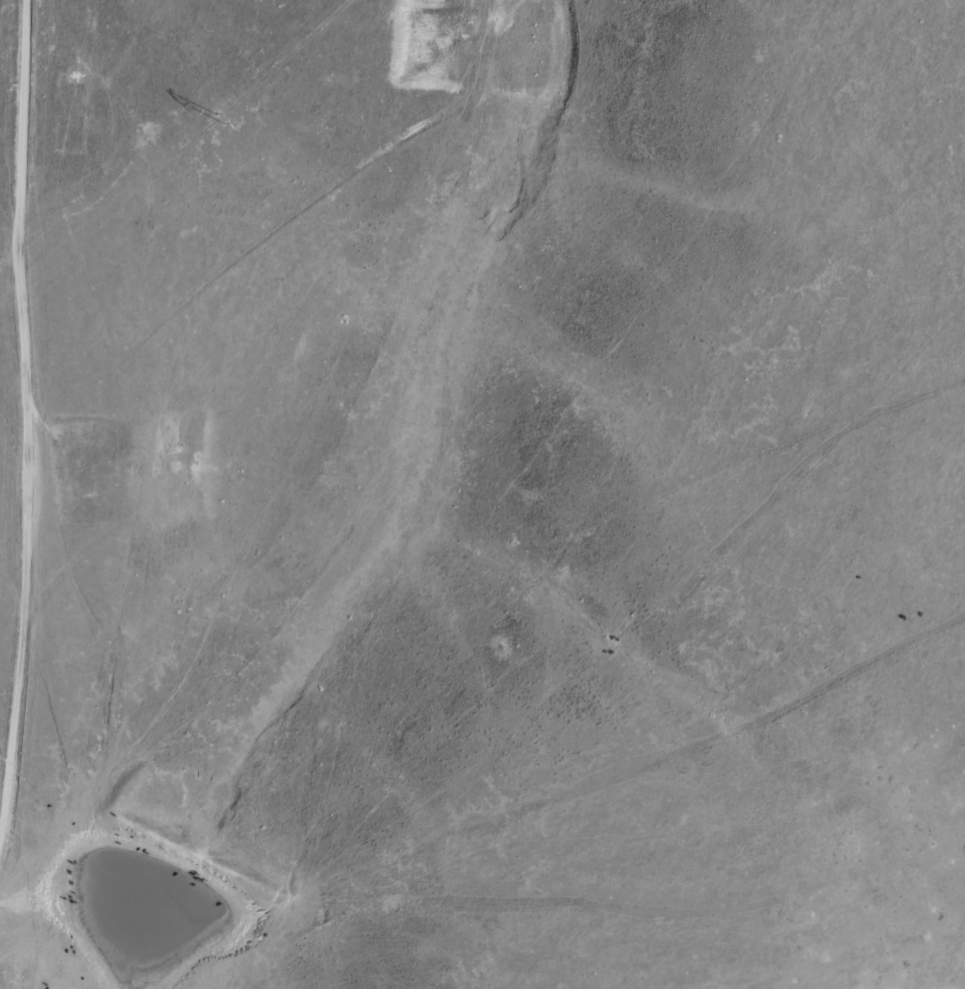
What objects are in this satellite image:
power tower: (217, 118)
road: (20, 630)

